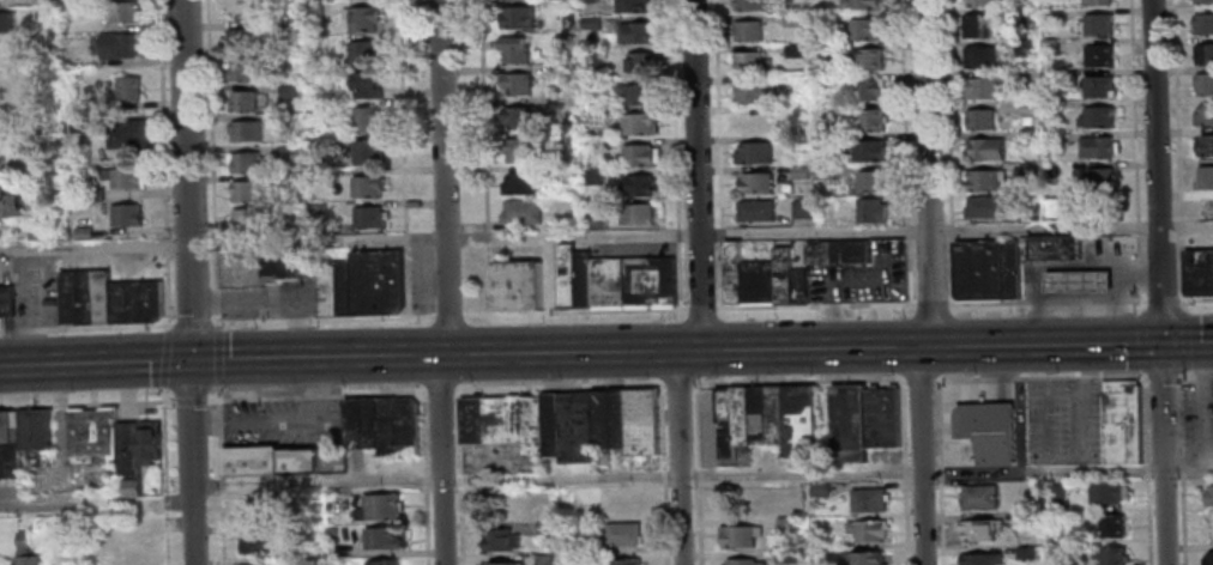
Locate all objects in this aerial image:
building: (42, 1)
building: (587, 1)
building: (1098, 1)
building: (1203, 1)
building: (977, 2)
building: (861, 5)
building: (630, 6)
building: (749, 6)
building: (312, 11)
building: (123, 13)
building: (1051, 13)
building: (517, 18)
building: (362, 19)
building: (791, 20)
building: (6, 23)
building: (591, 23)
building: (1100, 23)
building: (1203, 23)
building: (572, 24)
building: (973, 25)
building: (863, 30)
building: (747, 32)
building: (634, 34)
building: (241, 38)
building: (562, 44)
building: (119, 45)
building: (1050, 47)
building: (1025, 48)
building: (362, 51)
building: (512, 51)
building: (793, 51)
building: (1203, 53)
building: (1099, 54)
building: (979, 56)
building: (868, 59)
building: (639, 63)
building: (750, 63)
building: (241, 71)
building: (595, 72)
building: (1049, 78)
building: (1205, 83)
building: (515, 84)
building: (820, 84)
building: (1099, 85)
building: (364, 87)
building: (983, 87)
building: (128, 89)
building: (286, 90)
building: (867, 91)
building: (634, 93)
building: (749, 93)
building: (243, 102)
building: (1030, 104)
building: (1052, 105)
building: (314, 109)
road: (1134, 109)
road: (1177, 109)
road: (948, 111)
road: (483, 114)
building: (1203, 114)
road: (402, 115)
building: (822, 115)
building: (518, 116)
building: (1098, 116)
building: (979, 117)
building: (366, 119)
building: (871, 120)
building: (638, 127)
building: (246, 132)
building: (129, 135)
building: (1031, 136)
building: (1052, 138)
building: (315, 141)
building: (822, 142)
building: (1203, 145)
building: (593, 146)
building: (1099, 146)
building: (985, 148)
building: (867, 150)
building: (518, 151)
road: (905, 151)
building: (286, 153)
building: (367, 153)
road: (717, 153)
road: (675, 154)
building: (753, 154)
building: (636, 157)
building: (8, 159)
building: (245, 162)
road: (164, 163)
road: (213, 163)
building: (1032, 166)
building: (563, 171)
building: (798, 174)
building: (823, 174)
road: (695, 175)
building: (595, 176)
road: (442, 177)
building: (1203, 177)
building: (125, 178)
building: (984, 178)
building: (1099, 180)
building: (870, 183)
building: (519, 184)
building: (754, 184)
building: (366, 186)
building: (638, 188)
building: (247, 192)
building: (92, 195)
building: (10, 203)
building: (985, 206)
building: (1030, 206)
building: (1054, 206)
building: (801, 209)
building: (825, 211)
building: (870, 211)
building: (315, 212)
building: (520, 213)
building: (754, 213)
building: (126, 214)
building: (636, 215)
building: (368, 217)
building: (248, 219)
building: (596, 219)
building: (292, 221)
road: (1137, 225)
road: (1182, 225)
building: (37, 230)
road: (948, 230)
building: (83, 233)
road: (605, 235)
road: (487, 236)
road: (405, 238)
road: (1139, 249)
building: (1054, 250)
building: (837, 251)
building: (280, 268)
building: (986, 268)
road: (1178, 269)
building: (1196, 269)
road: (947, 271)
road: (1140, 274)
parking lot: (863, 278)
road: (487, 279)
building: (762, 279)
building: (612, 280)
road: (841, 280)
road: (191, 281)
road: (405, 281)
road: (1159, 281)
road: (929, 282)
building: (375, 284)
building: (1076, 284)
building: (515, 285)
building: (333, 288)
road: (1140, 294)
building: (84, 298)
road: (1196, 298)
road: (1136, 299)
road: (1161, 299)
road: (1078, 300)
building: (6, 302)
building: (135, 303)
road: (870, 303)
road: (700, 308)
road: (574, 311)
street lamp: (903, 311)
road: (447, 315)
road: (324, 320)
road: (193, 323)
road: (85, 327)
road: (1185, 338)
road: (1140, 339)
traffic signals: (1160, 344)
road: (605, 352)
road: (218, 356)
road: (165, 357)
traffic signals: (191, 362)
road: (1188, 372)
road: (1141, 373)
road: (1160, 375)
road: (1194, 375)
road: (918, 378)
road: (676, 382)
road: (556, 383)
road: (439, 389)
road: (315, 395)
road: (0, 400)
road: (189, 400)
road: (1079, 400)
road: (86, 403)
road: (1045, 405)
building: (767, 419)
road: (1142, 419)
road: (1179, 419)
building: (606, 420)
building: (863, 420)
building: (1120, 421)
building: (502, 423)
parking lot: (1061, 423)
building: (382, 424)
building: (640, 424)
parking lot: (288, 425)
building: (549, 425)
building: (8, 426)
building: (574, 429)
building: (36, 430)
building: (988, 432)
building: (93, 436)
building: (149, 443)
road: (677, 457)
building: (128, 458)
building: (10, 460)
building: (272, 460)
road: (440, 460)
road: (1179, 469)
road: (903, 470)
road: (1145, 470)
road: (937, 472)
road: (660, 473)
road: (695, 473)
road: (218, 474)
road: (163, 475)
road: (701, 475)
road: (457, 476)
road: (422, 479)
building: (819, 492)
building: (1057, 493)
building: (1207, 493)
building: (1106, 494)
building: (979, 498)
building: (868, 502)
road: (96, 504)
building: (621, 504)
building: (378, 506)
building: (1062, 518)
building: (1022, 520)
road: (1181, 521)
road: (1146, 522)
building: (784, 524)
building: (1109, 527)
building: (544, 528)
building: (327, 530)
building: (867, 531)
building: (976, 531)
building: (622, 534)
building: (737, 536)
building: (380, 537)
building: (500, 539)
building: (257, 541)
building: (820, 542)
building: (579, 543)
building: (135, 546)
building: (24, 551)
building: (1025, 554)
building: (784, 557)
building: (1112, 558)
building: (1207, 558)
building: (862, 559)
building: (543, 560)
building: (980, 560)
building: (622, 561)
building: (307, 563)
building: (382, 563)
building: (741, 563)
building: (257, 564)
building: (506, 564)

